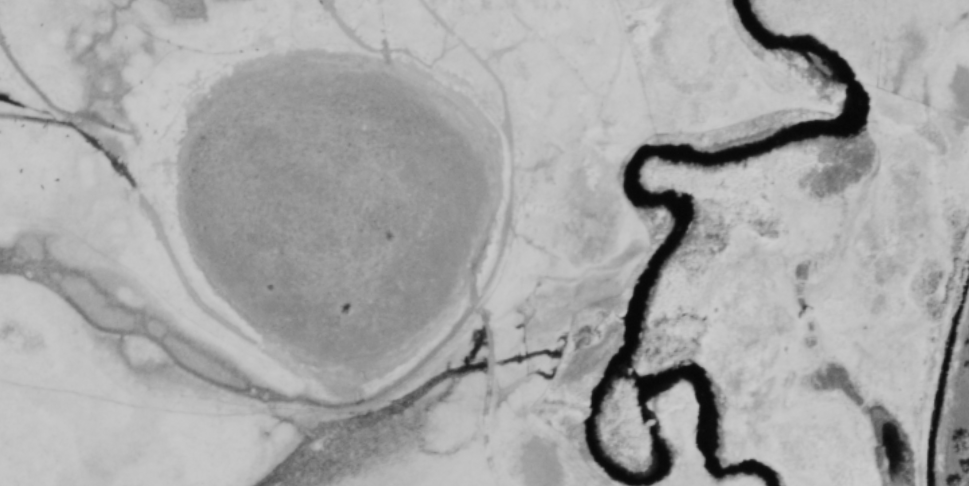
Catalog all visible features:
river: (717, 157)
river: (651, 433)

